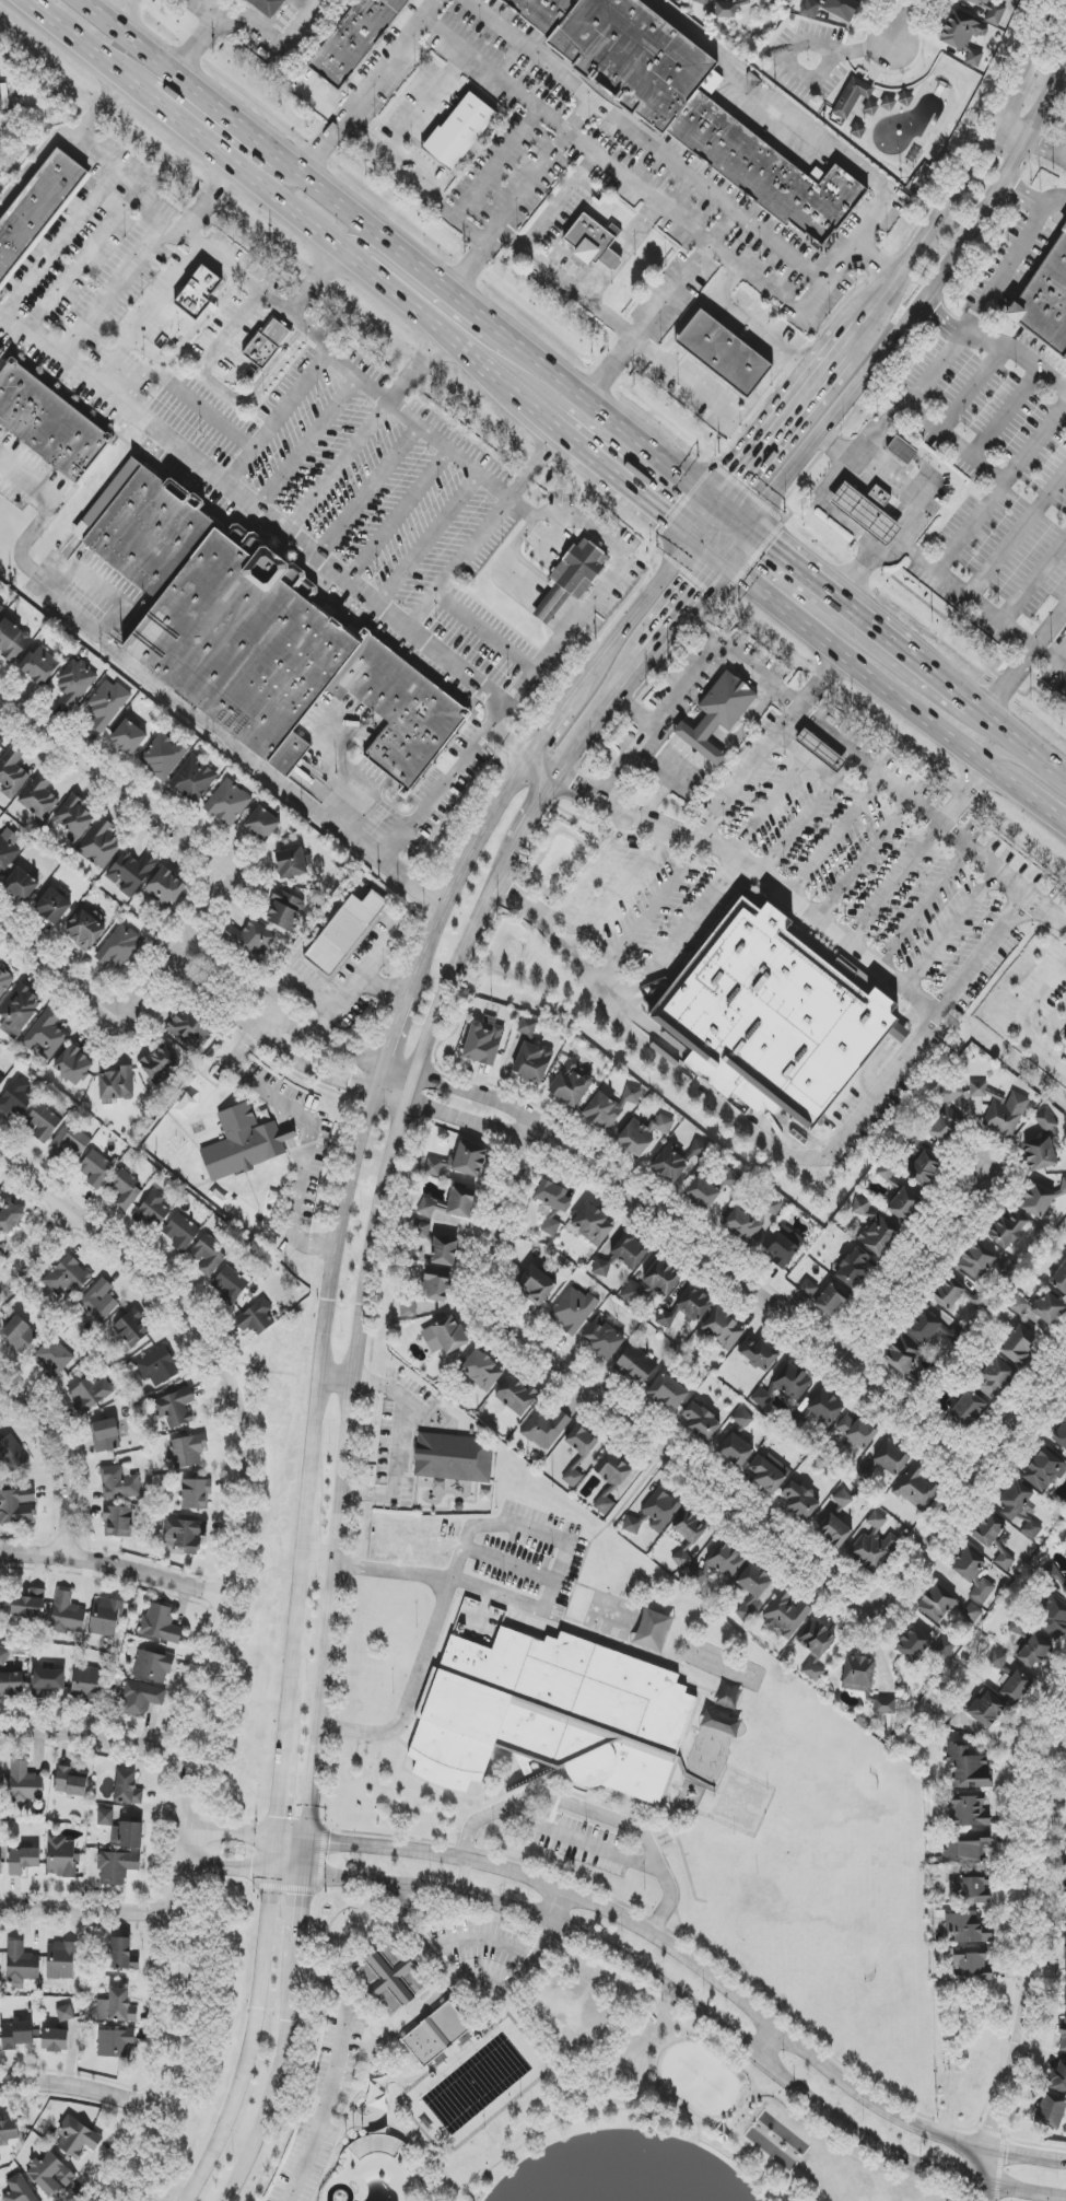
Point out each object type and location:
building: (701, 2)
road: (220, 5)
building: (270, 7)
building: (729, 8)
building: (810, 8)
building: (843, 9)
building: (989, 11)
road: (125, 13)
road: (245, 24)
road: (900, 25)
building: (960, 31)
road: (1049, 31)
building: (358, 39)
road: (798, 43)
road: (83, 47)
building: (974, 58)
road: (368, 86)
road: (1019, 93)
building: (853, 96)
building: (4, 97)
building: (887, 102)
road: (425, 106)
building: (689, 106)
road: (579, 115)
road: (178, 123)
road: (816, 131)
building: (858, 131)
building: (461, 132)
road: (249, 133)
road: (1017, 133)
road: (645, 141)
building: (0, 142)
road: (582, 142)
road: (1052, 150)
road: (1063, 154)
road: (497, 163)
road: (259, 167)
road: (530, 188)
road: (95, 195)
road: (152, 197)
road: (1056, 200)
road: (437, 202)
road: (560, 202)
building: (38, 214)
road: (723, 228)
road: (639, 230)
road: (935, 230)
road: (329, 241)
building: (591, 242)
road: (1017, 251)
road: (377, 255)
road: (239, 268)
road: (739, 270)
road: (563, 282)
road: (117, 283)
road: (596, 283)
road: (450, 292)
road: (673, 292)
building: (199, 293)
building: (1045, 299)
road: (921, 312)
road: (149, 313)
road: (191, 334)
road: (998, 343)
building: (267, 347)
building: (723, 349)
building: (1, 354)
road: (475, 359)
road: (689, 385)
road: (221, 388)
road: (970, 388)
road: (373, 389)
road: (113, 400)
road: (531, 407)
road: (602, 411)
road: (898, 411)
road: (1004, 414)
road: (792, 419)
building: (49, 426)
road: (1034, 443)
building: (903, 452)
road: (337, 468)
road: (481, 478)
road: (997, 479)
traffic signals: (741, 480)
road: (625, 485)
road: (938, 498)
road: (246, 502)
building: (848, 502)
gas station: (848, 502)
building: (871, 511)
road: (1032, 515)
traffic signals: (665, 516)
road: (735, 517)
road: (707, 523)
building: (147, 527)
road: (850, 527)
building: (886, 532)
gas station: (886, 532)
road: (1017, 533)
road: (736, 546)
traffic signals: (771, 546)
road: (710, 551)
road: (799, 568)
building: (575, 574)
road: (1033, 579)
road: (604, 589)
traffic signals: (700, 595)
building: (1, 608)
road: (422, 610)
road: (679, 620)
road: (1001, 622)
road: (1050, 626)
road: (882, 634)
building: (12, 640)
road: (586, 643)
road: (1057, 650)
road: (1049, 660)
building: (284, 663)
building: (39, 665)
building: (75, 683)
road: (948, 687)
road: (892, 696)
road: (176, 699)
building: (727, 700)
building: (106, 704)
road: (813, 723)
building: (128, 737)
building: (701, 740)
road: (555, 741)
building: (1, 742)
road: (1023, 746)
road: (765, 747)
road: (534, 752)
building: (820, 752)
gas station: (820, 752)
building: (164, 756)
road: (804, 759)
building: (11, 772)
road: (454, 772)
road: (1028, 776)
building: (194, 779)
building: (39, 795)
building: (227, 803)
road: (152, 806)
road: (524, 808)
road: (769, 810)
building: (73, 818)
building: (262, 824)
road: (795, 828)
road: (833, 838)
building: (99, 846)
building: (8, 849)
road: (916, 855)
road: (863, 861)
building: (290, 863)
road: (593, 872)
building: (130, 873)
road: (759, 876)
building: (21, 885)
building: (165, 888)
road: (619, 893)
building: (52, 907)
building: (285, 911)
road: (647, 916)
building: (85, 931)
building: (344, 932)
building: (251, 940)
road: (678, 940)
building: (119, 946)
road: (378, 954)
road: (361, 979)
building: (4, 981)
road: (302, 983)
road: (230, 990)
road: (101, 999)
building: (19, 1010)
building: (780, 1015)
road: (1023, 1018)
building: (527, 1026)
building: (189, 1027)
building: (46, 1034)
building: (899, 1034)
road: (391, 1038)
building: (1065, 1040)
building: (483, 1041)
building: (532, 1062)
building: (73, 1064)
building: (160, 1065)
road: (409, 1069)
building: (1, 1080)
building: (572, 1084)
road: (394, 1097)
building: (15, 1098)
building: (609, 1107)
building: (1000, 1108)
road: (280, 1111)
building: (947, 1116)
building: (1046, 1120)
building: (43, 1122)
road: (309, 1128)
road: (288, 1133)
building: (643, 1133)
building: (1053, 1138)
building: (69, 1143)
building: (244, 1143)
road: (771, 1150)
building: (1040, 1154)
road: (296, 1156)
building: (678, 1160)
building: (458, 1162)
building: (923, 1165)
building: (96, 1168)
building: (887, 1173)
building: (730, 1178)
building: (1063, 1186)
building: (124, 1190)
building: (0, 1192)
building: (702, 1193)
building: (1036, 1201)
building: (460, 1202)
building: (904, 1204)
building: (553, 1206)
building: (426, 1208)
building: (770, 1208)
building: (153, 1210)
building: (10, 1218)
building: (593, 1225)
building: (742, 1225)
road: (374, 1228)
building: (875, 1228)
building: (1007, 1230)
building: (422, 1231)
building: (181, 1233)
road: (35, 1246)
building: (782, 1246)
building: (444, 1251)
building: (629, 1251)
building: (207, 1256)
building: (976, 1261)
building: (601, 1268)
building: (855, 1268)
road: (932, 1271)
building: (68, 1277)
building: (1061, 1278)
building: (538, 1281)
road: (329, 1283)
building: (652, 1283)
building: (229, 1284)
building: (436, 1285)
building: (809, 1290)
building: (948, 1292)
building: (832, 1299)
building: (99, 1301)
road: (768, 1302)
building: (694, 1304)
building: (1018, 1305)
building: (408, 1307)
building: (573, 1309)
building: (1050, 1309)
building: (666, 1315)
building: (256, 1318)
building: (131, 1327)
building: (924, 1327)
building: (723, 1329)
building: (20, 1335)
building: (445, 1336)
building: (956, 1336)
building: (602, 1338)
building: (1020, 1344)
building: (759, 1353)
building: (901, 1356)
building: (54, 1358)
building: (635, 1365)
building: (157, 1367)
building: (481, 1371)
building: (994, 1377)
road: (337, 1378)
building: (792, 1382)
building: (668, 1393)
building: (89, 1394)
building: (516, 1396)
building: (174, 1408)
building: (823, 1408)
building: (968, 1410)
building: (742, 1419)
building: (701, 1421)
building: (546, 1429)
road: (636, 1432)
building: (857, 1432)
building: (1061, 1434)
building: (105, 1435)
building: (582, 1441)
road: (399, 1445)
building: (187, 1451)
building: (735, 1451)
building: (11, 1454)
road: (63, 1456)
building: (454, 1457)
building: (883, 1463)
building: (1044, 1470)
building: (768, 1476)
building: (610, 1480)
building: (119, 1482)
building: (916, 1488)
road: (986, 1491)
building: (196, 1493)
building: (842, 1499)
building: (800, 1501)
building: (16, 1506)
building: (1020, 1509)
building: (660, 1510)
building: (118, 1522)
road: (305, 1523)
building: (632, 1525)
building: (690, 1527)
building: (834, 1530)
building: (988, 1530)
building: (184, 1535)
building: (875, 1544)
road: (569, 1550)
building: (683, 1557)
building: (726, 1560)
building: (1004, 1560)
road: (115, 1565)
road: (318, 1565)
building: (974, 1574)
building: (696, 1577)
building: (755, 1581)
building: (1057, 1584)
building: (30, 1604)
building: (946, 1604)
building: (0, 1605)
building: (67, 1612)
building: (786, 1614)
building: (1053, 1616)
building: (105, 1618)
building: (161, 1623)
road: (432, 1634)
road: (216, 1637)
building: (816, 1639)
building: (914, 1643)
building: (1030, 1645)
building: (944, 1647)
building: (3, 1657)
building: (997, 1660)
road: (292, 1661)
building: (153, 1666)
building: (813, 1670)
building: (858, 1674)
building: (48, 1681)
building: (11, 1684)
building: (89, 1684)
building: (1015, 1686)
building: (140, 1699)
building: (885, 1705)
building: (986, 1709)
building: (552, 1714)
road: (93, 1738)
building: (968, 1766)
building: (0, 1779)
building: (69, 1782)
building: (25, 1784)
building: (127, 1789)
building: (745, 1793)
building: (969, 1812)
road: (590, 1813)
building: (735, 1814)
road: (277, 1815)
building: (105, 1817)
traffic signals: (277, 1817)
road: (226, 1832)
building: (127, 1836)
road: (291, 1839)
traffic signals: (330, 1843)
building: (965, 1850)
building: (60, 1856)
building: (23, 1860)
building: (0, 1862)
building: (117, 1867)
road: (223, 1867)
traffic signals: (250, 1871)
building: (1065, 1876)
road: (465, 1882)
road: (296, 1889)
building: (970, 1889)
traffic signals: (304, 1896)
road: (554, 1905)
road: (84, 1909)
road: (302, 1912)
building: (965, 1928)
building: (121, 1954)
road: (1026, 1955)
building: (1065, 1958)
building: (60, 1960)
building: (971, 1965)
building: (21, 1966)
road: (700, 1970)
building: (390, 1978)
road: (461, 1981)
road: (683, 2000)
road: (358, 2001)
building: (1065, 2002)
building: (116, 2007)
road: (307, 2011)
building: (65, 2013)
building: (436, 2034)
building: (16, 2035)
building: (1063, 2037)
building: (55, 2040)
road: (249, 2042)
building: (116, 2043)
road: (768, 2045)
road: (337, 2075)
road: (750, 2076)
building: (1057, 2077)
park: (700, 2080)
road: (78, 2087)
road: (272, 2096)
road: (349, 2101)
road: (586, 2109)
road: (745, 2109)
building: (1051, 2111)
road: (336, 2113)
road: (743, 2115)
building: (9, 2130)
building: (77, 2139)
road: (764, 2161)
building: (50, 2175)
building: (19, 2190)
road: (968, 2200)

